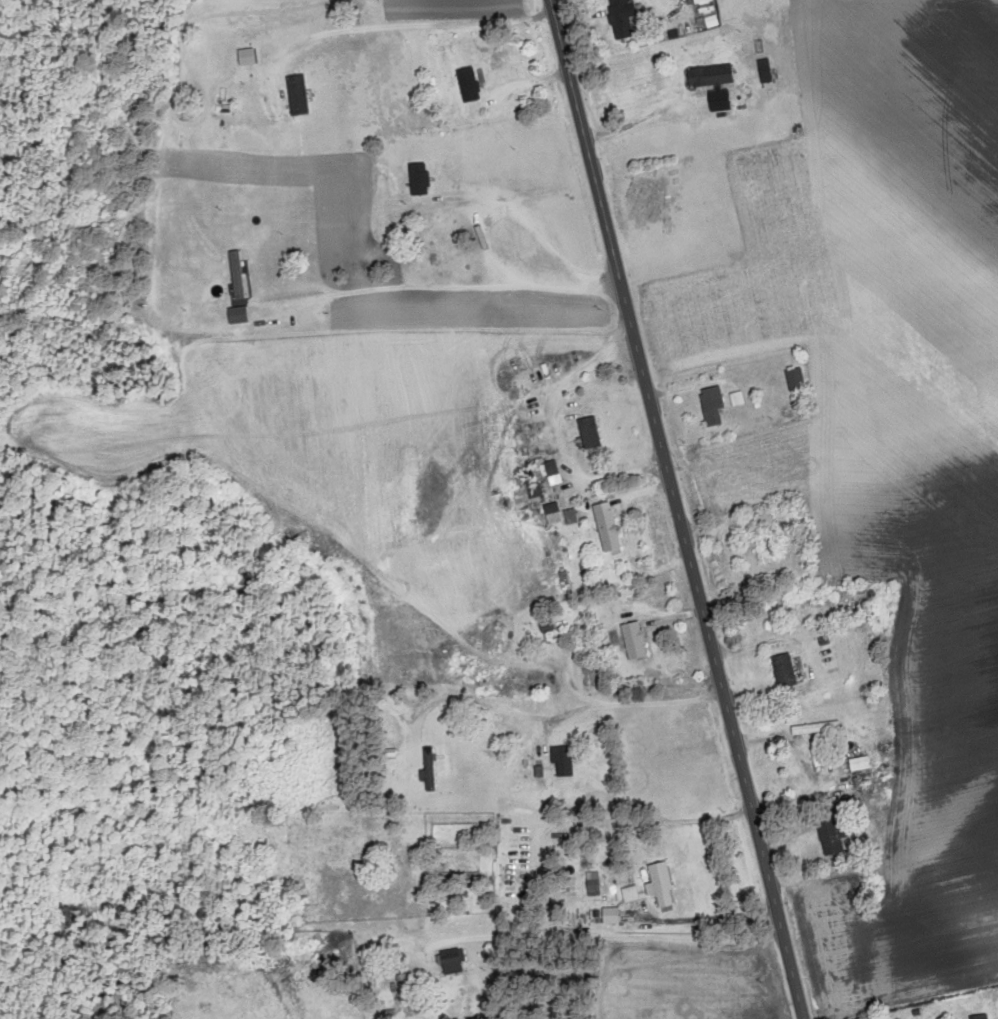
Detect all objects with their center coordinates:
building: (621, 18)
building: (764, 71)
building: (710, 76)
building: (468, 84)
building: (297, 95)
road: (245, 152)
building: (419, 179)
road: (755, 347)
building: (795, 379)
building: (712, 405)
road: (811, 425)
building: (589, 433)
road: (676, 509)
building: (551, 510)
building: (571, 517)
building: (607, 531)
building: (769, 547)
building: (634, 641)
road: (748, 646)
building: (784, 671)
building: (811, 760)
building: (562, 762)
building: (430, 771)
building: (831, 839)
building: (661, 886)
building: (610, 917)
road: (543, 930)
building: (452, 962)
building: (980, 1017)

